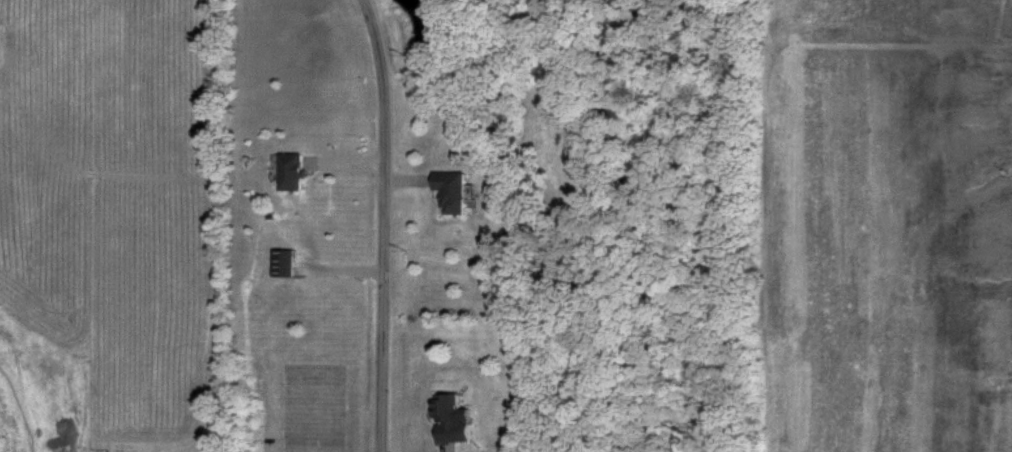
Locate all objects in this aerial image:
building: (289, 174)
building: (448, 192)
road: (385, 224)
crop: (884, 228)
building: (281, 264)
building: (447, 422)

